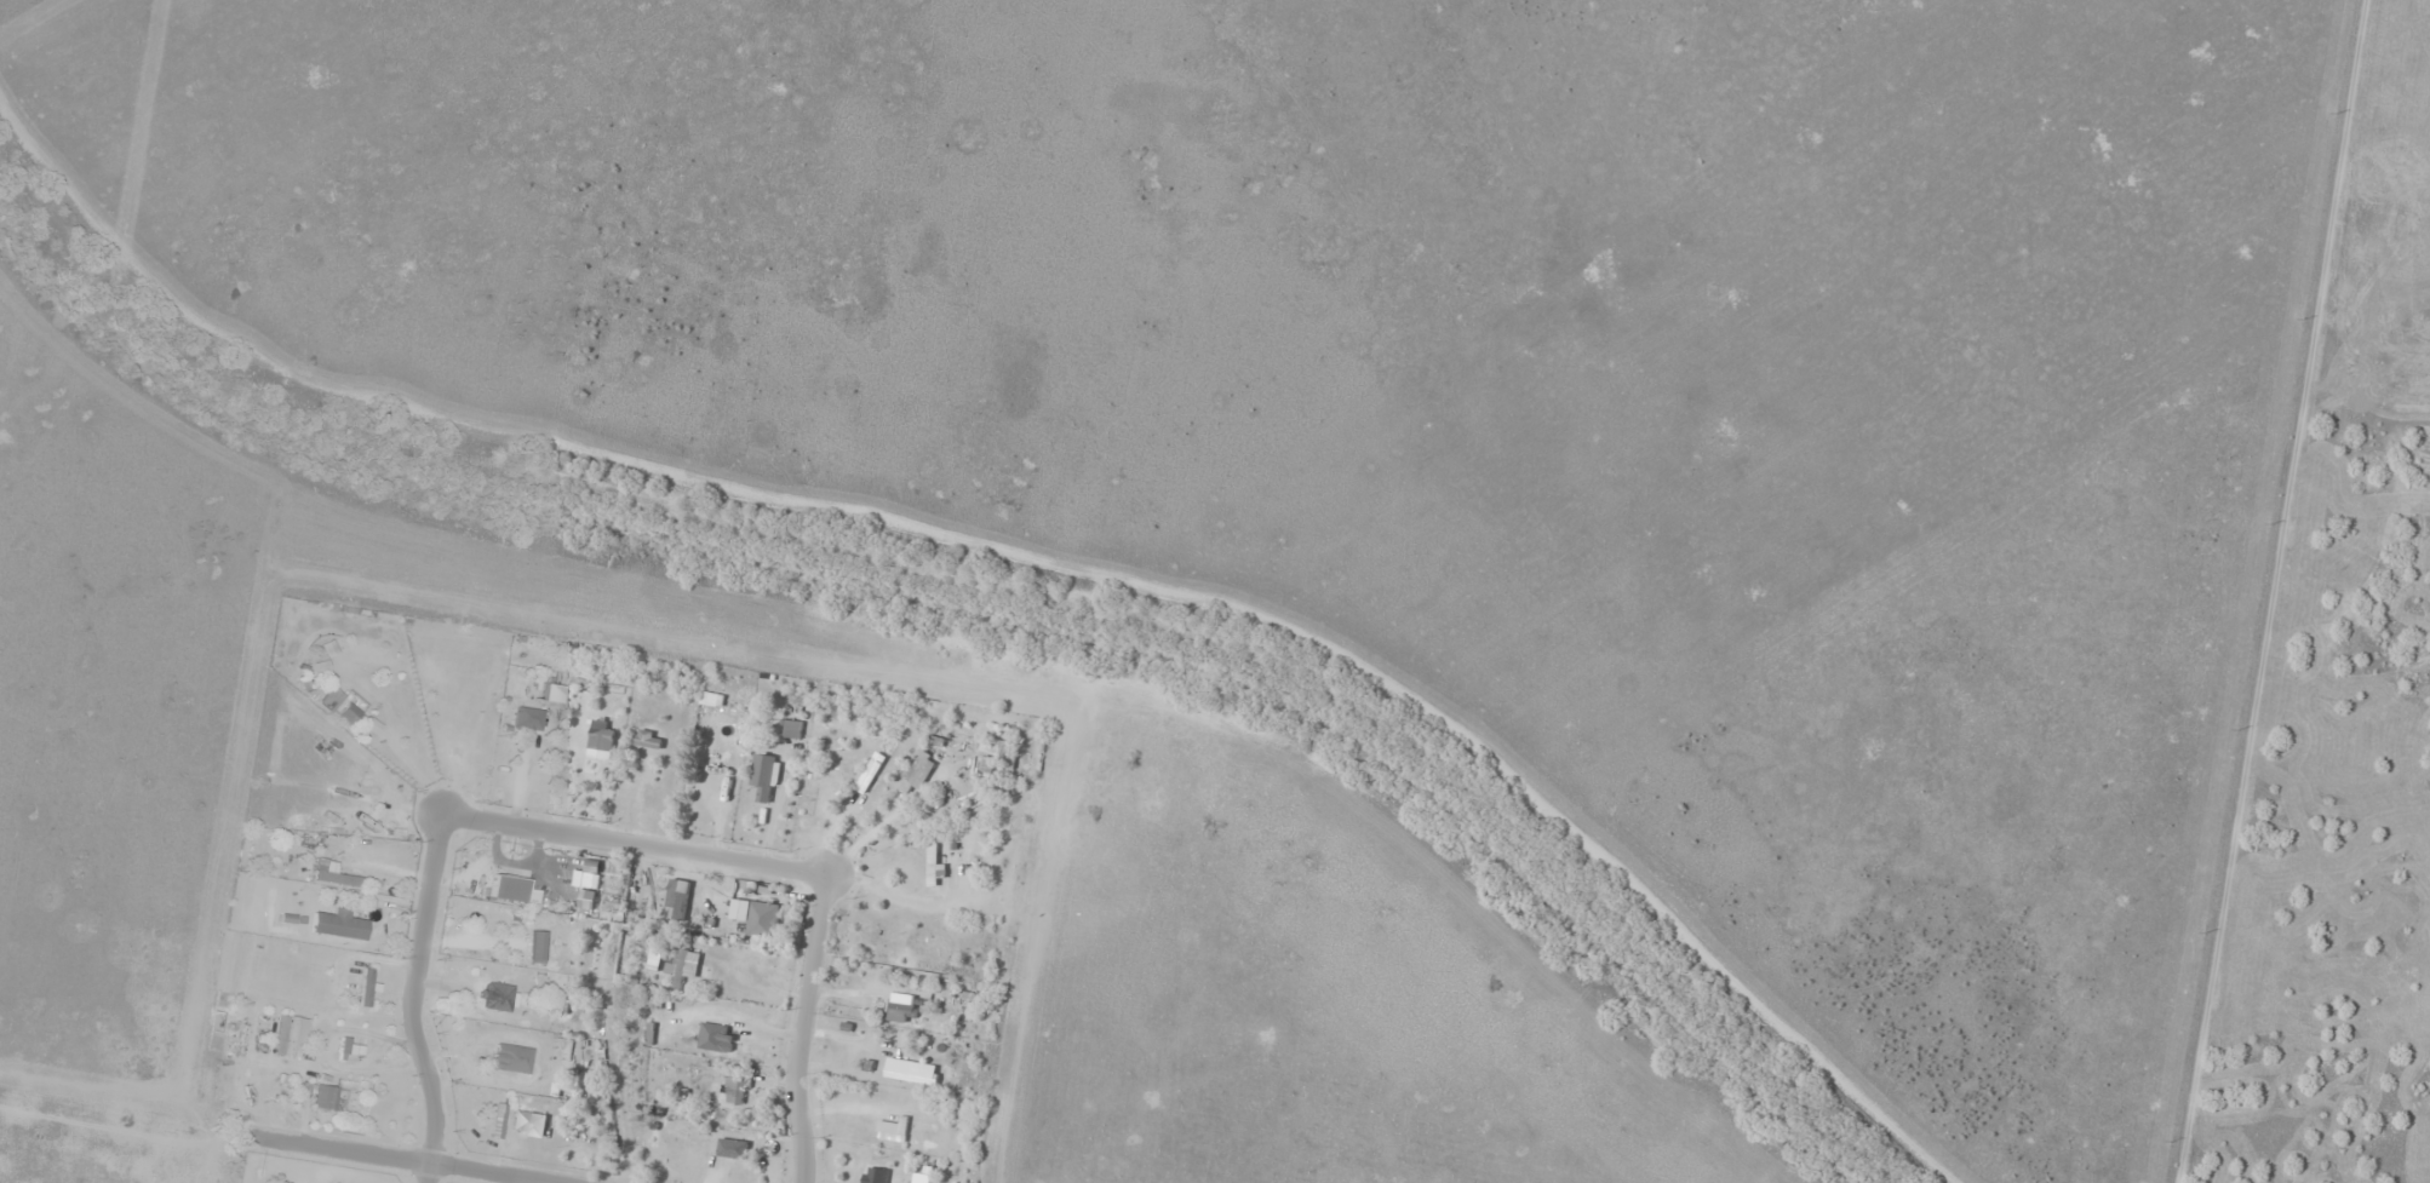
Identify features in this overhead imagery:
building: (554, 693)
building: (345, 705)
building: (529, 718)
building: (791, 728)
building: (596, 734)
building: (648, 739)
building: (716, 750)
building: (848, 763)
building: (985, 769)
building: (917, 773)
building: (763, 776)
building: (383, 803)
road: (635, 840)
building: (933, 865)
building: (346, 874)
building: (758, 919)
building: (704, 921)
building: (342, 923)
building: (538, 946)
building: (684, 965)
building: (367, 987)
building: (505, 995)
road: (412, 997)
road: (802, 1027)
building: (715, 1036)
building: (354, 1044)
building: (512, 1057)
building: (734, 1089)
building: (331, 1097)
building: (499, 1120)
building: (728, 1147)
building: (682, 1153)
road: (400, 1159)
building: (895, 1171)

